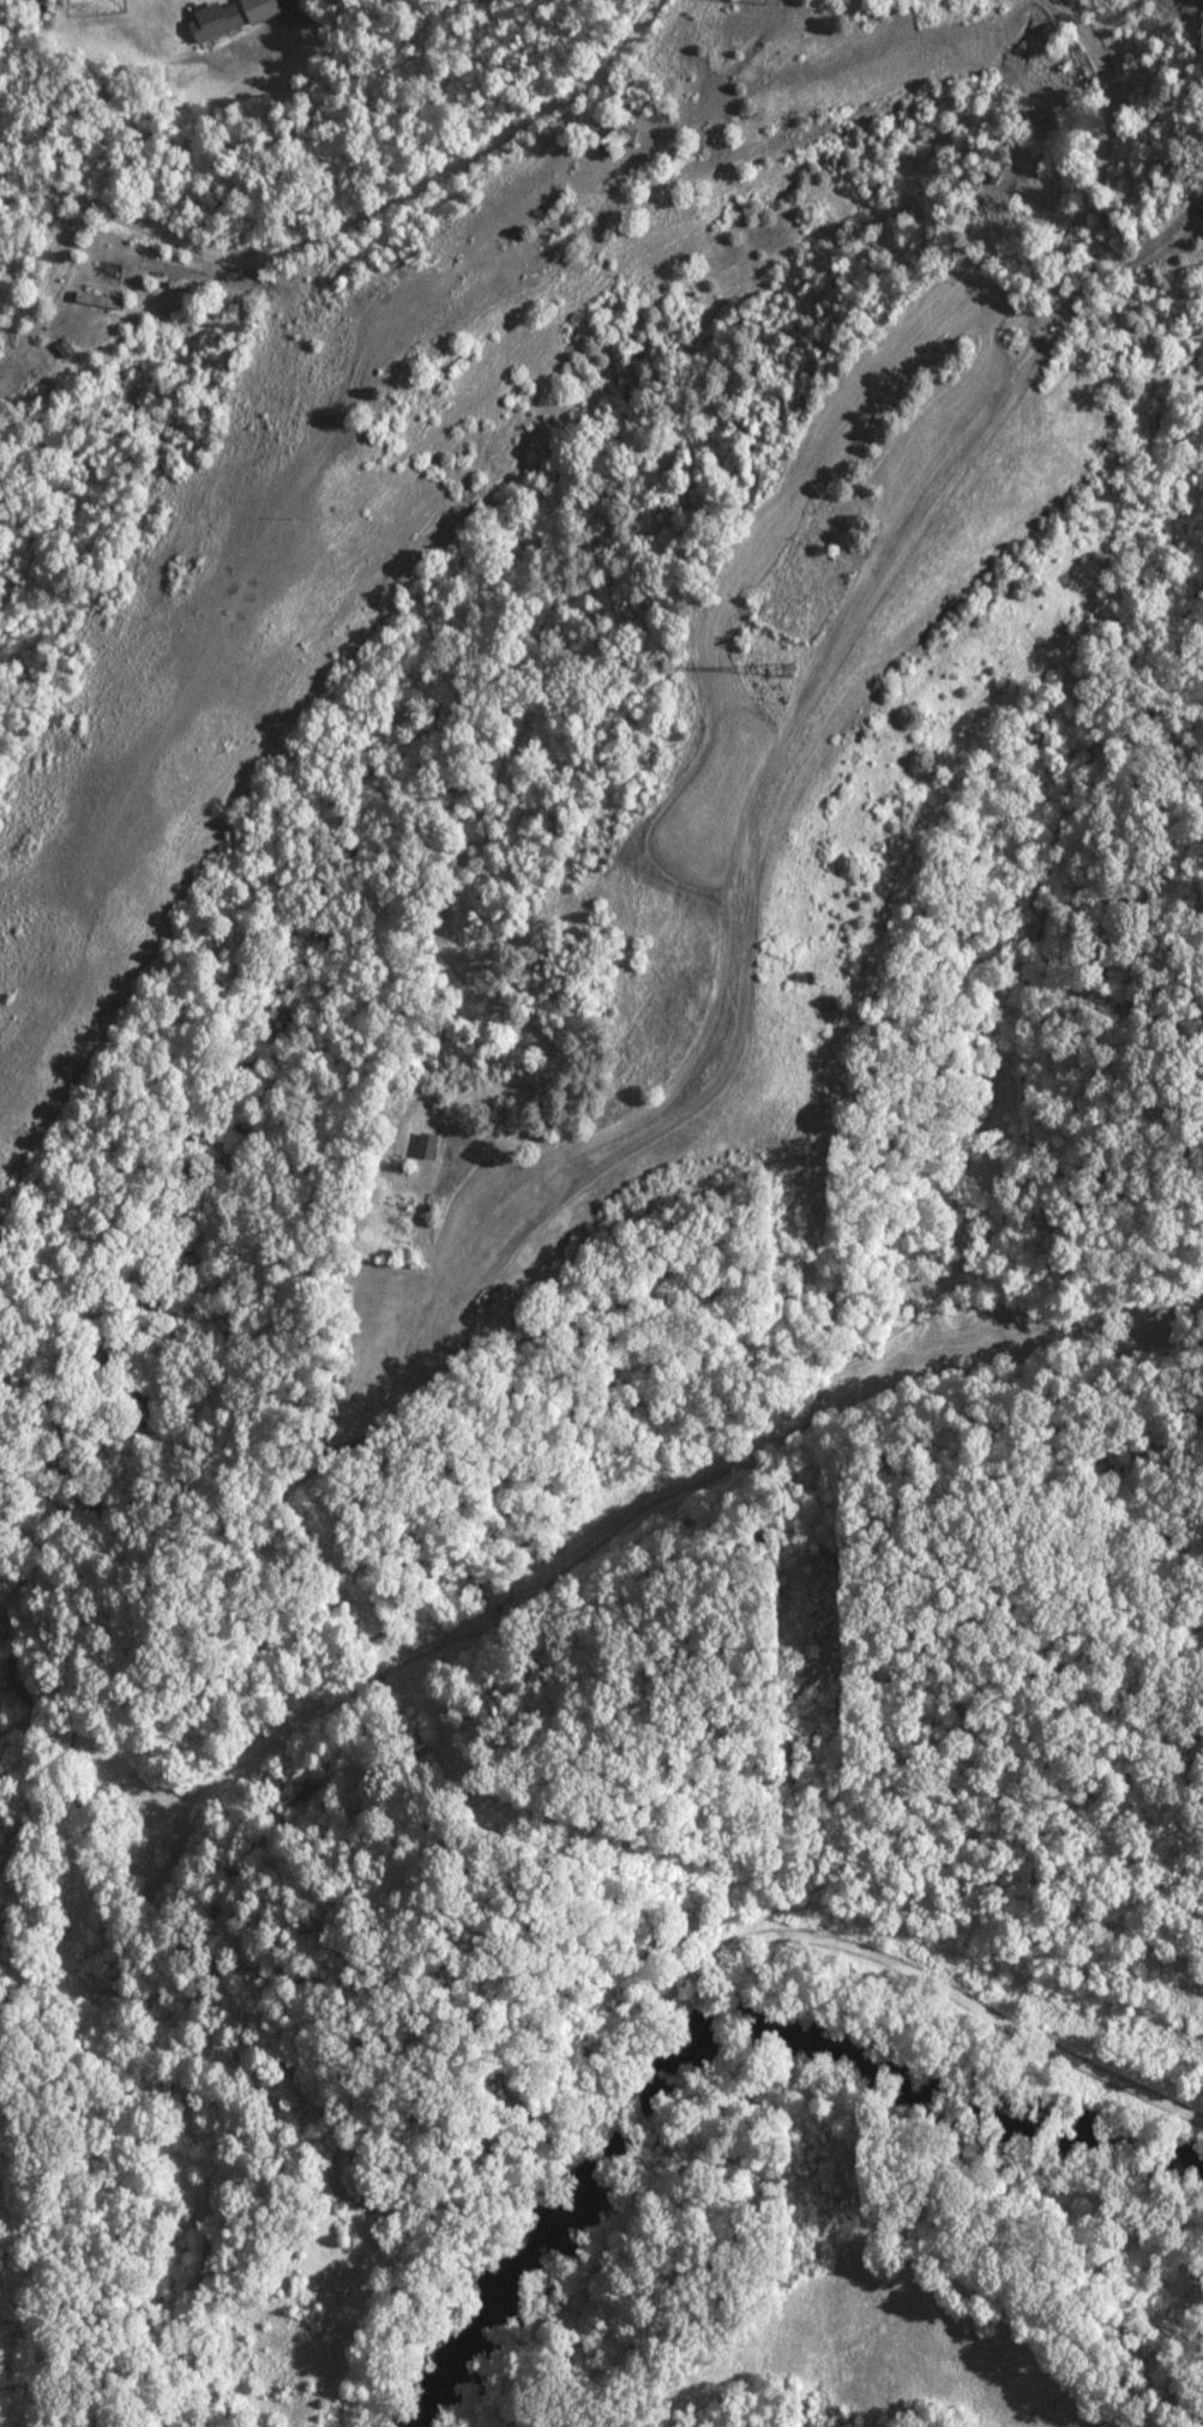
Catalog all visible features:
building: (952, 4)
building: (215, 22)
building: (610, 140)
road: (354, 218)
building: (108, 272)
power tower: (787, 663)
power tower: (813, 1652)
road: (870, 2272)

